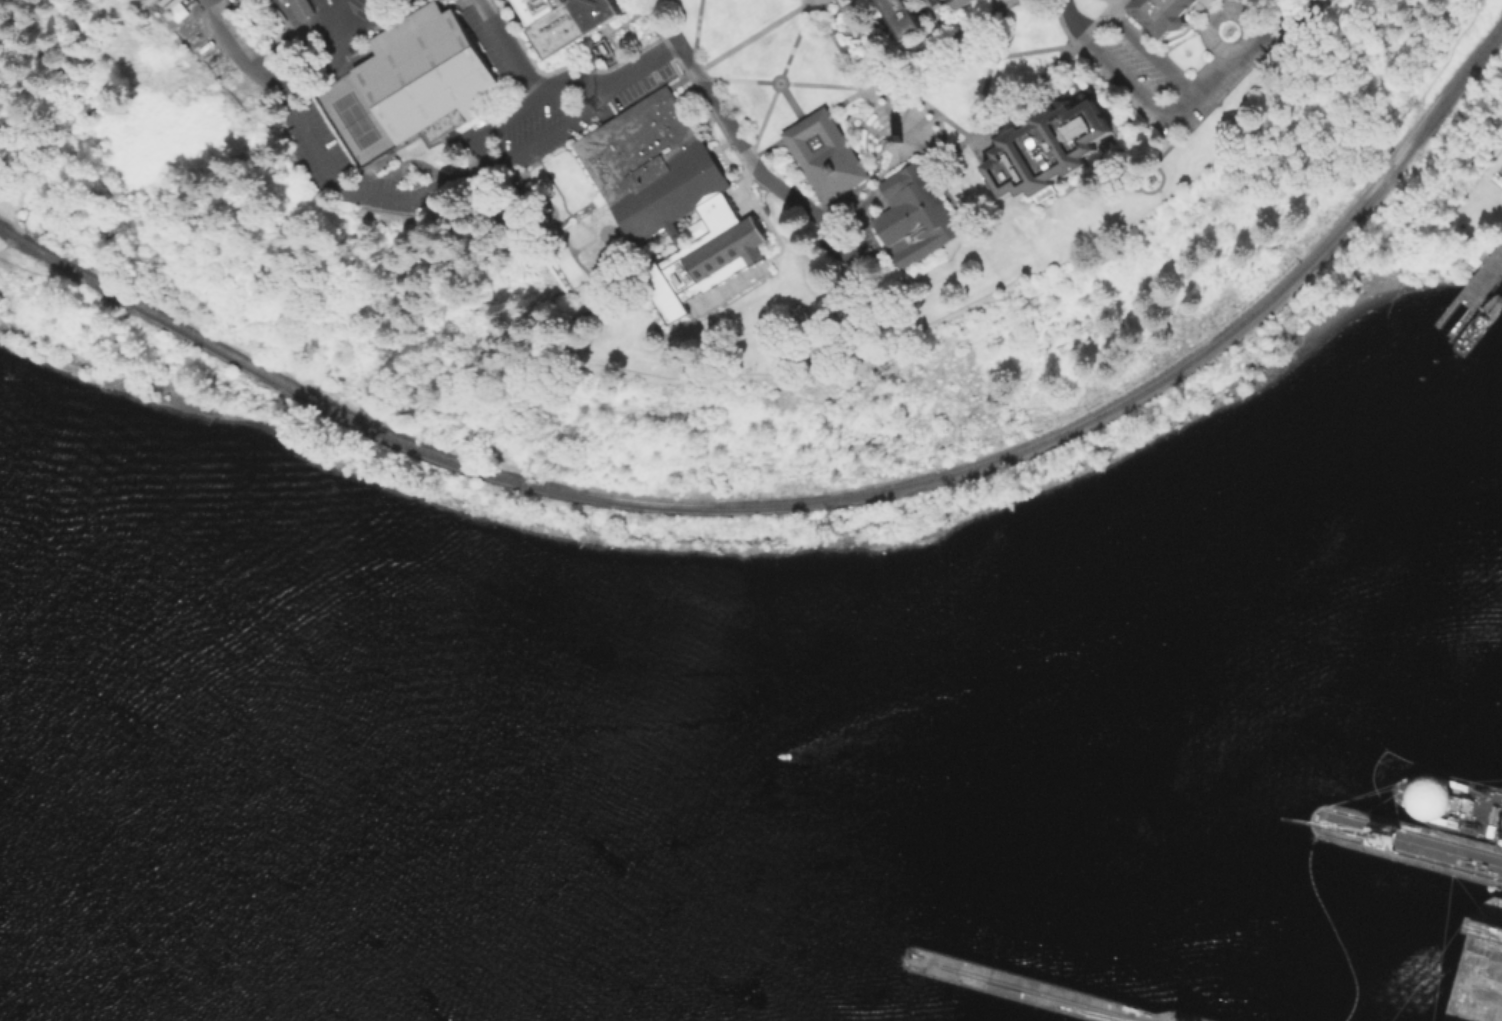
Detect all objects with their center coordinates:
building: (837, 0)
building: (281, 1)
road: (814, 1)
road: (1006, 1)
building: (964, 2)
building: (936, 3)
building: (942, 3)
building: (299, 7)
road: (1211, 10)
building: (1171, 13)
road: (1213, 13)
building: (910, 16)
road: (373, 17)
road: (934, 17)
building: (566, 21)
road: (1097, 21)
road: (654, 22)
road: (621, 23)
road: (1061, 23)
road: (1146, 28)
road: (1136, 32)
road: (739, 43)
road: (938, 44)
road: (615, 47)
road: (840, 47)
road: (507, 48)
road: (1247, 48)
building: (599, 50)
road: (341, 62)
road: (907, 70)
road: (782, 72)
building: (425, 73)
road: (567, 78)
road: (744, 79)
road: (1087, 81)
road: (1131, 86)
road: (1026, 94)
road: (792, 103)
park: (1404, 104)
road: (1120, 105)
road: (977, 116)
road: (299, 118)
park: (355, 118)
road: (725, 118)
park: (355, 119)
building: (894, 139)
road: (957, 142)
road: (983, 146)
building: (1045, 148)
road: (508, 156)
road: (754, 156)
road: (750, 157)
building: (827, 157)
road: (933, 160)
road: (448, 177)
road: (549, 177)
road: (745, 177)
building: (1496, 178)
storage tank: (1496, 178)
road: (943, 188)
road: (850, 190)
building: (670, 197)
road: (834, 199)
road: (485, 211)
building: (914, 216)
road: (587, 227)
road: (771, 227)
road: (609, 230)
road: (566, 241)
road: (584, 244)
pier: (1476, 283)
building: (854, 303)
railway: (809, 498)
road: (812, 507)
railway: (1417, 831)
pier: (1410, 841)
railway: (1414, 855)
pier: (1037, 989)
railway: (1046, 992)
railway: (1178, 1018)

